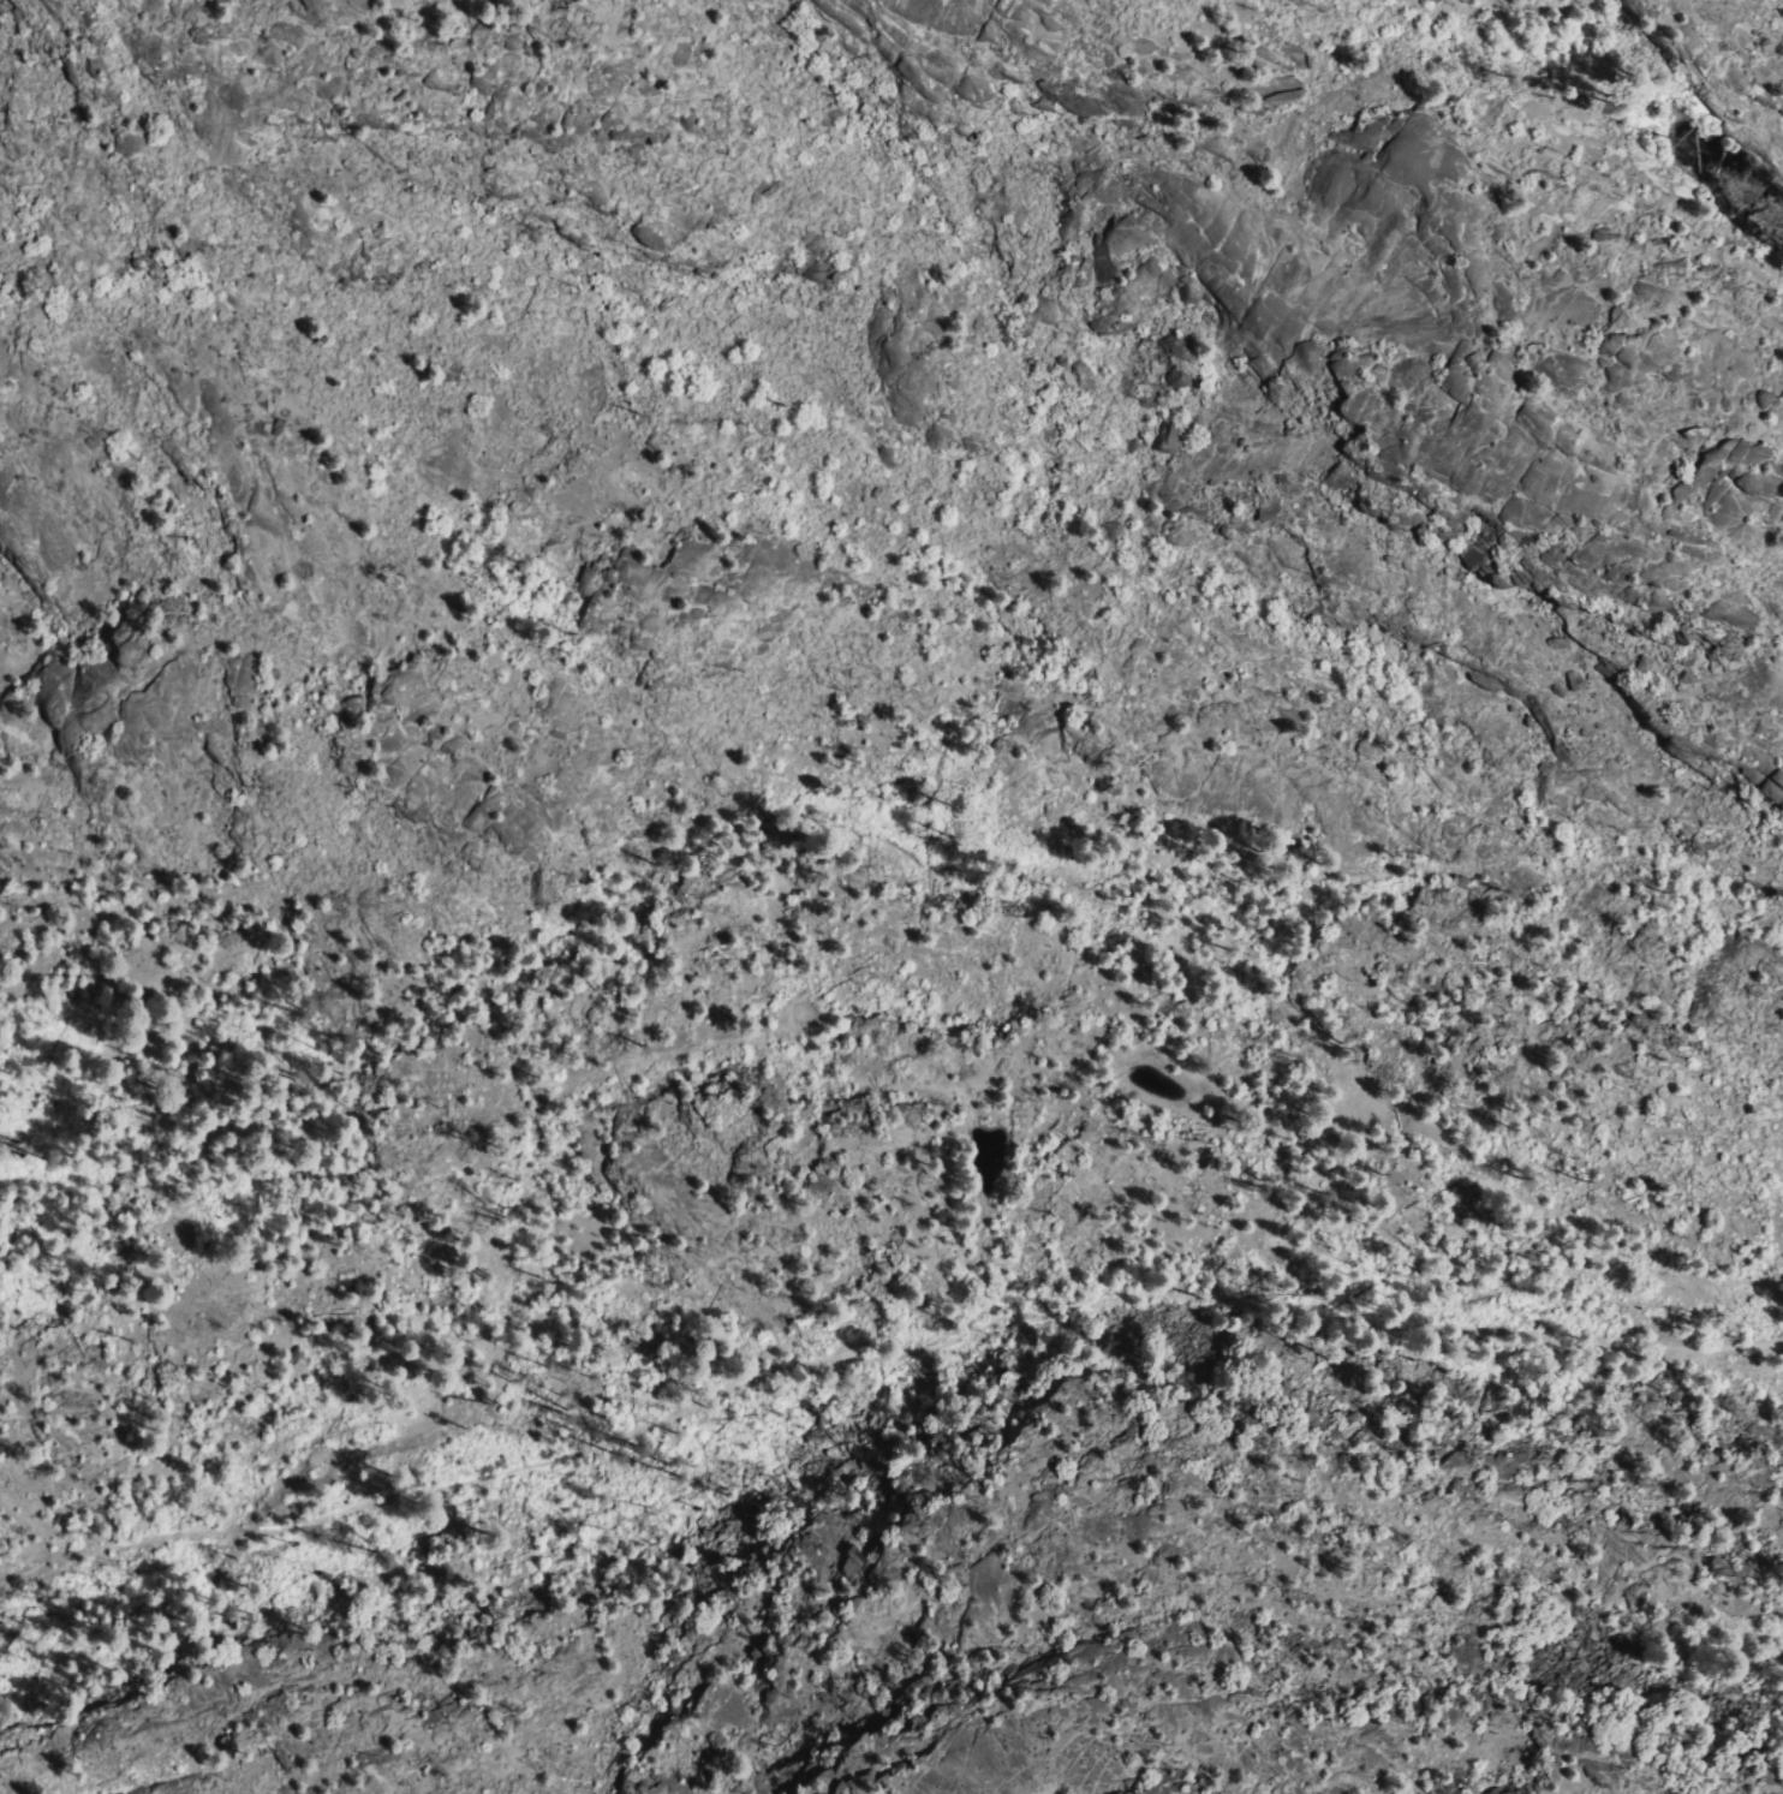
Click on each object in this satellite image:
road: (876, 1357)

